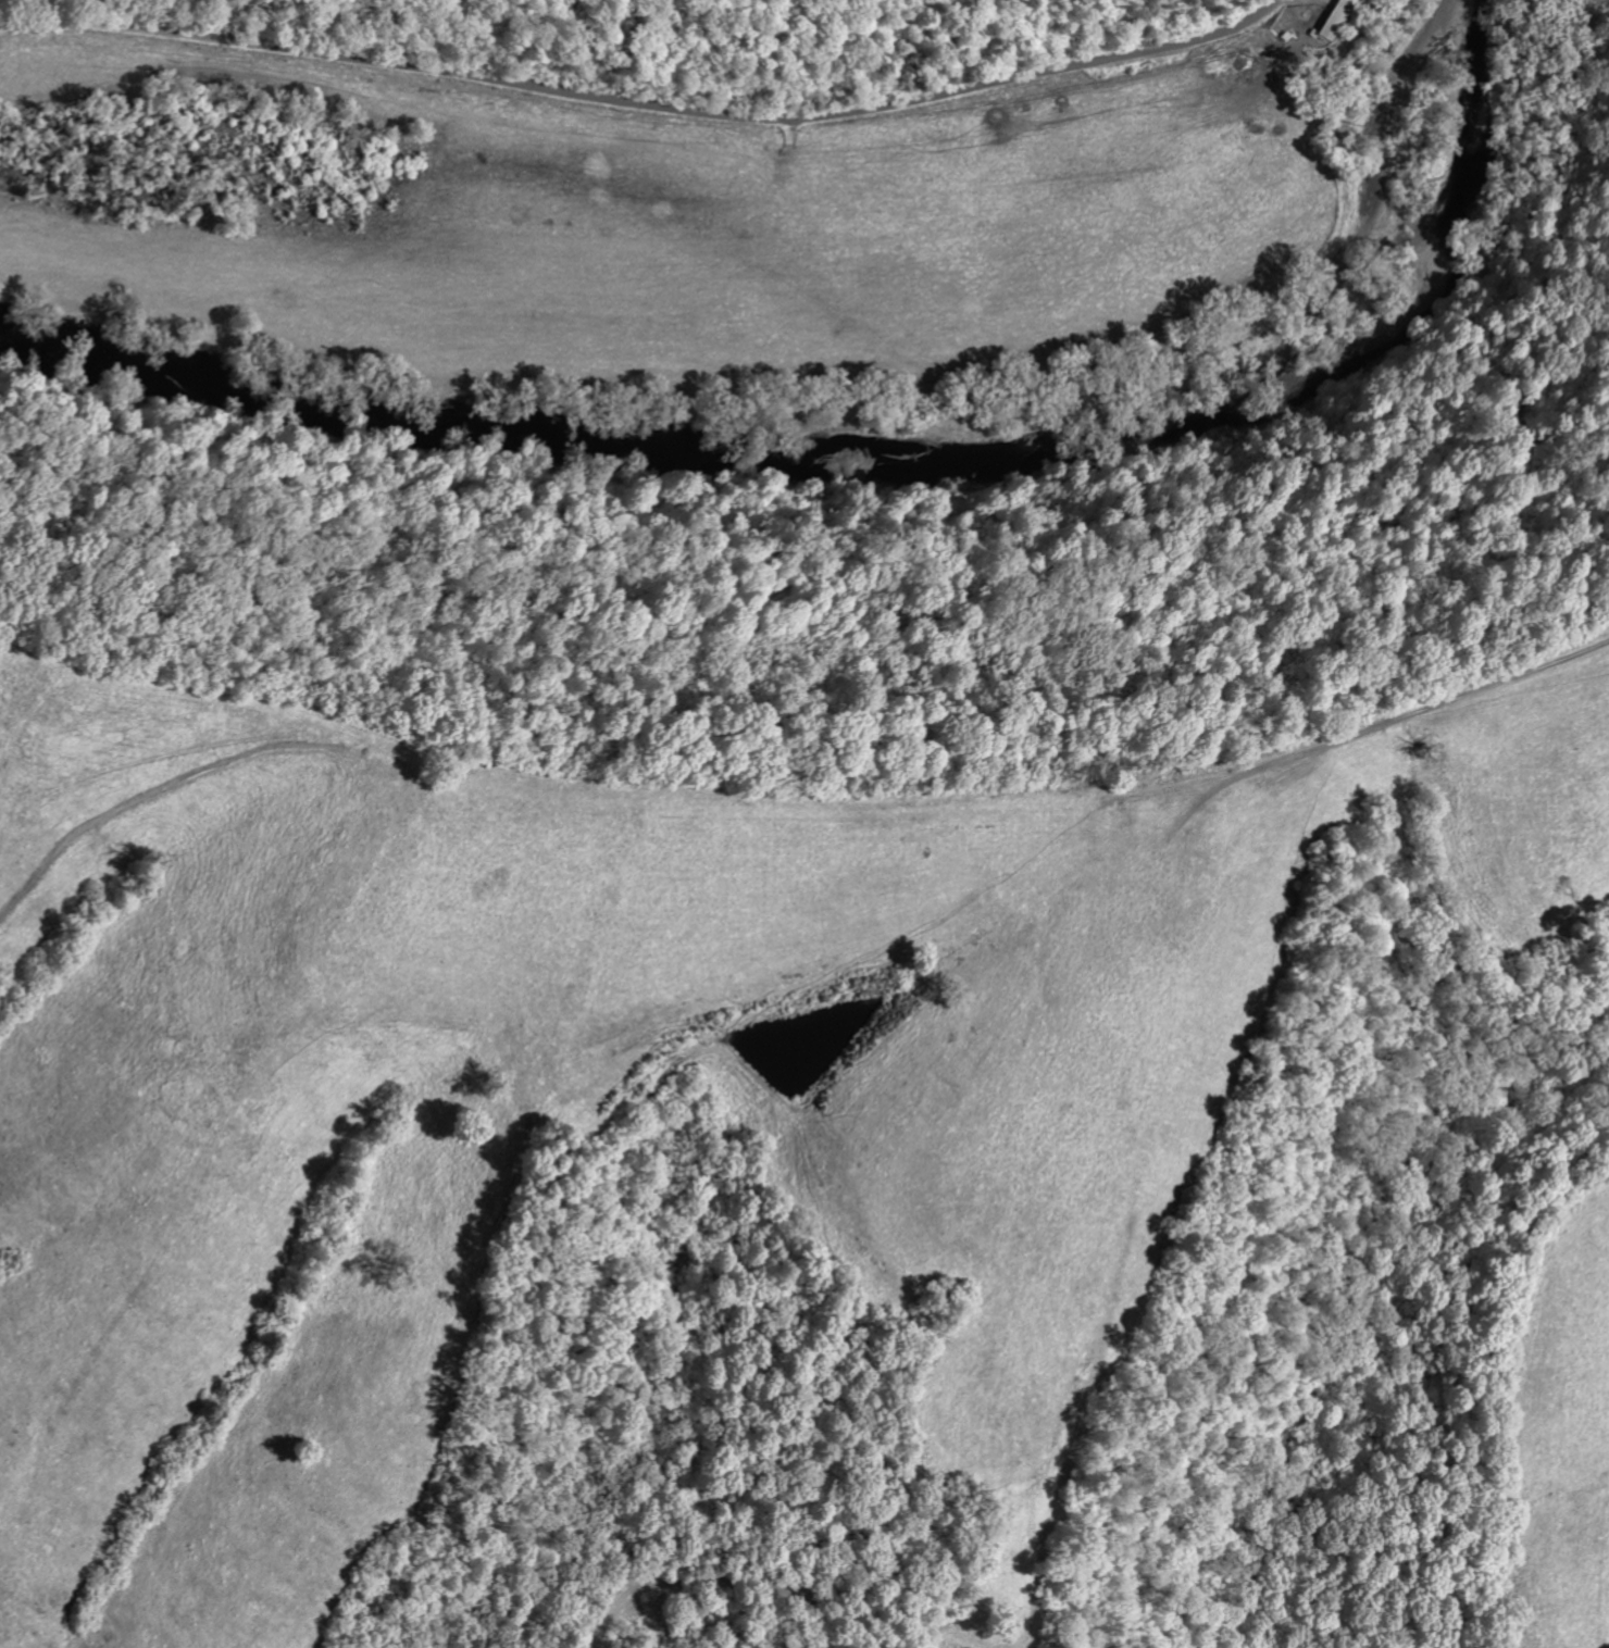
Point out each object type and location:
road: (1296, 10)
building: (1333, 20)
road: (639, 99)
river: (98, 353)
road: (1379, 735)
road: (830, 1500)

